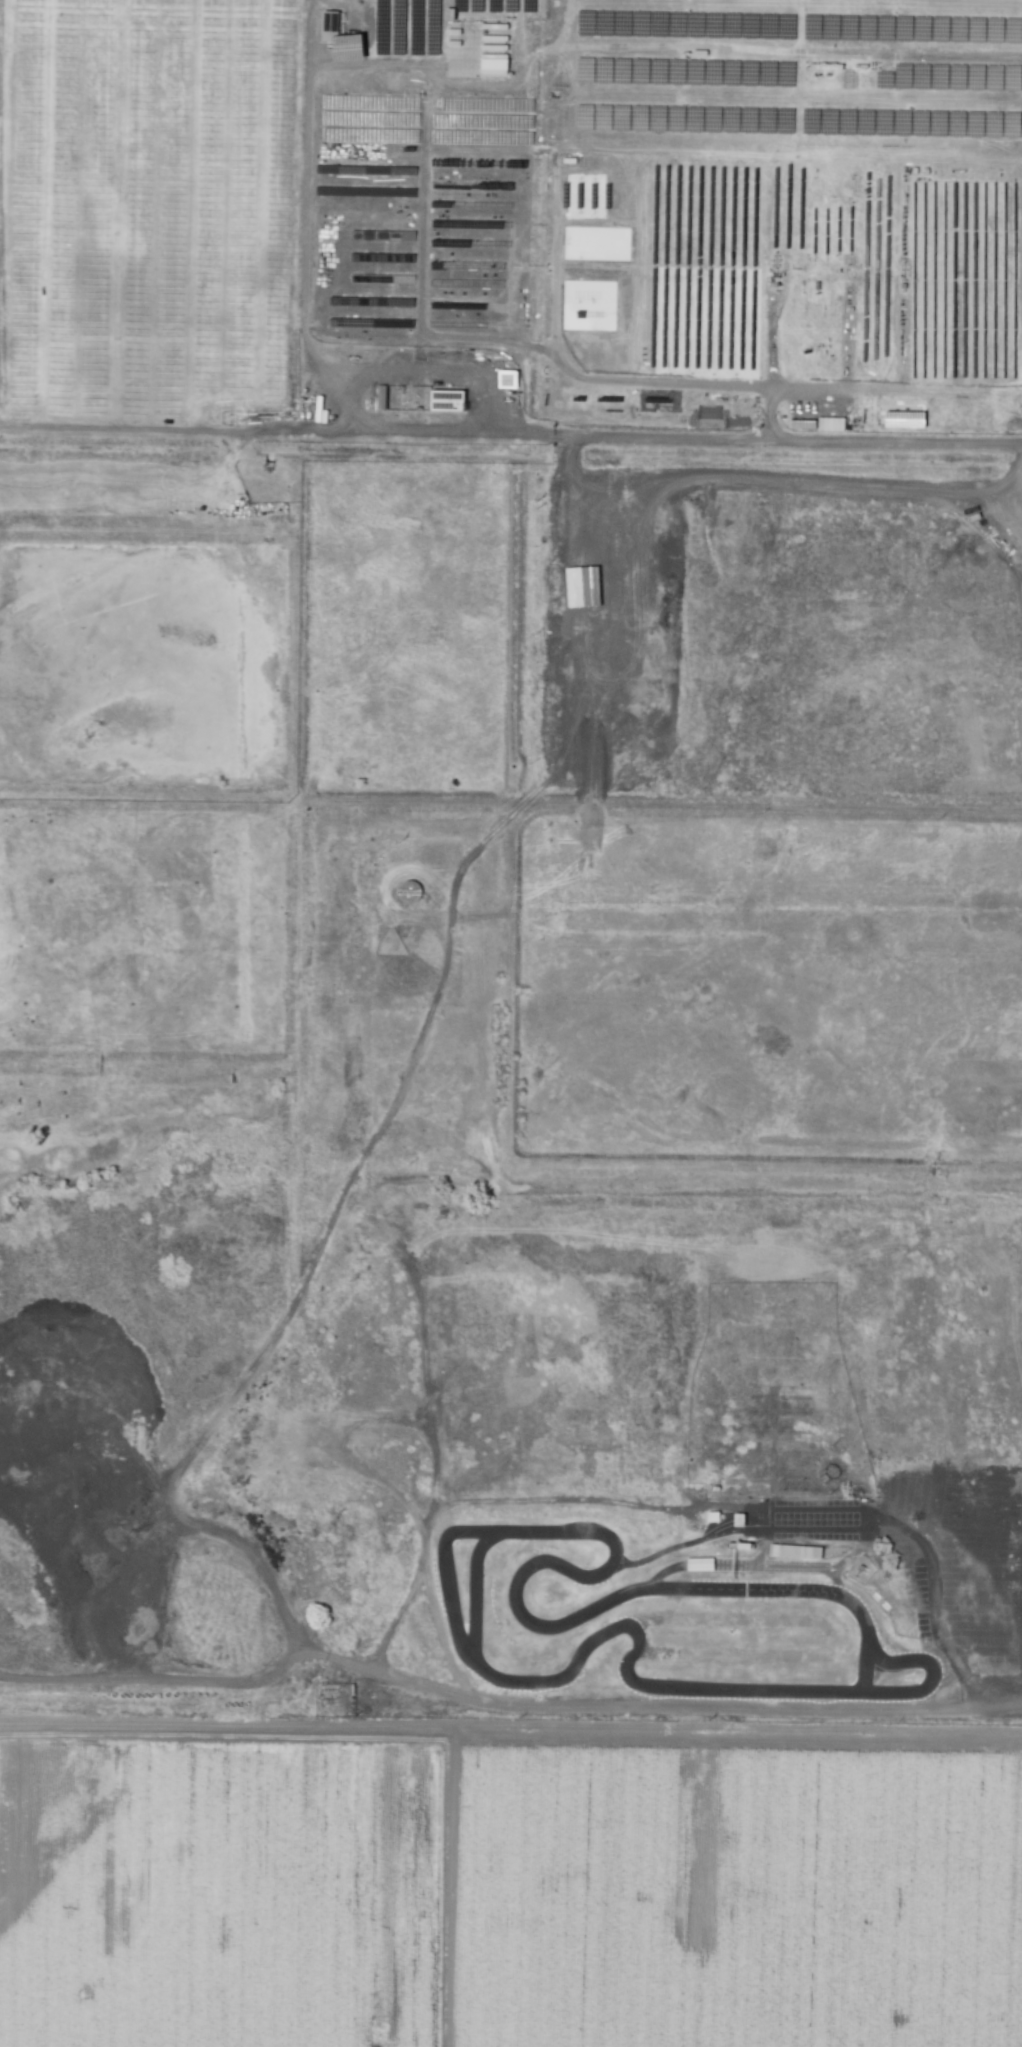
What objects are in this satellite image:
building: (329, 20)
road: (307, 31)
road: (369, 53)
road: (303, 231)
road: (422, 234)
road: (594, 378)
building: (507, 379)
road: (785, 388)
building: (446, 400)
road: (343, 418)
building: (802, 423)
building: (830, 423)
road: (569, 461)
road: (291, 1277)
road: (568, 1499)
building: (794, 1551)
road: (422, 1553)
raceway: (656, 1554)
raceway: (652, 1579)
raceway: (476, 1586)
road: (935, 1610)
raceway: (865, 1666)
raceway: (929, 1681)
road: (499, 1711)

